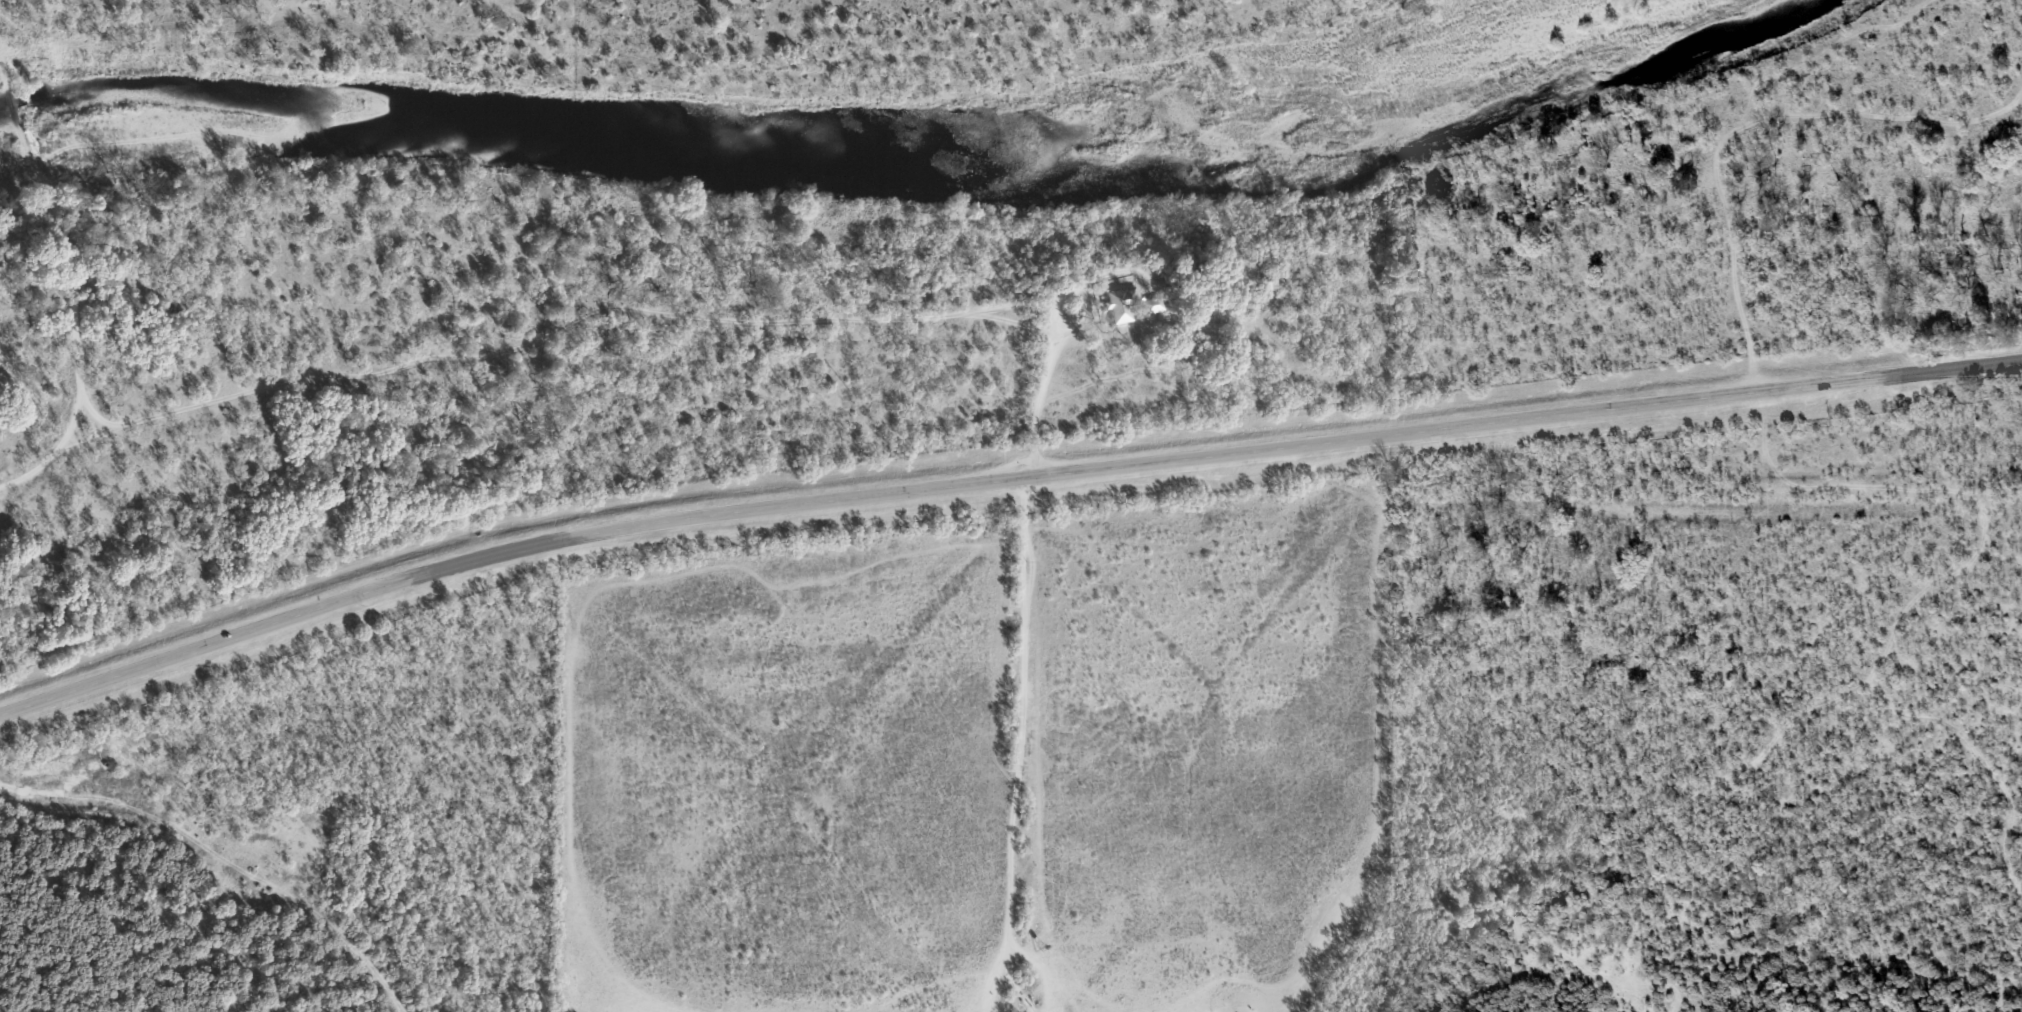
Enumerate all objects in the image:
road: (5, 25)
river: (837, 161)
road: (55, 240)
building: (1120, 306)
road: (849, 333)
road: (998, 488)
road: (1020, 669)

